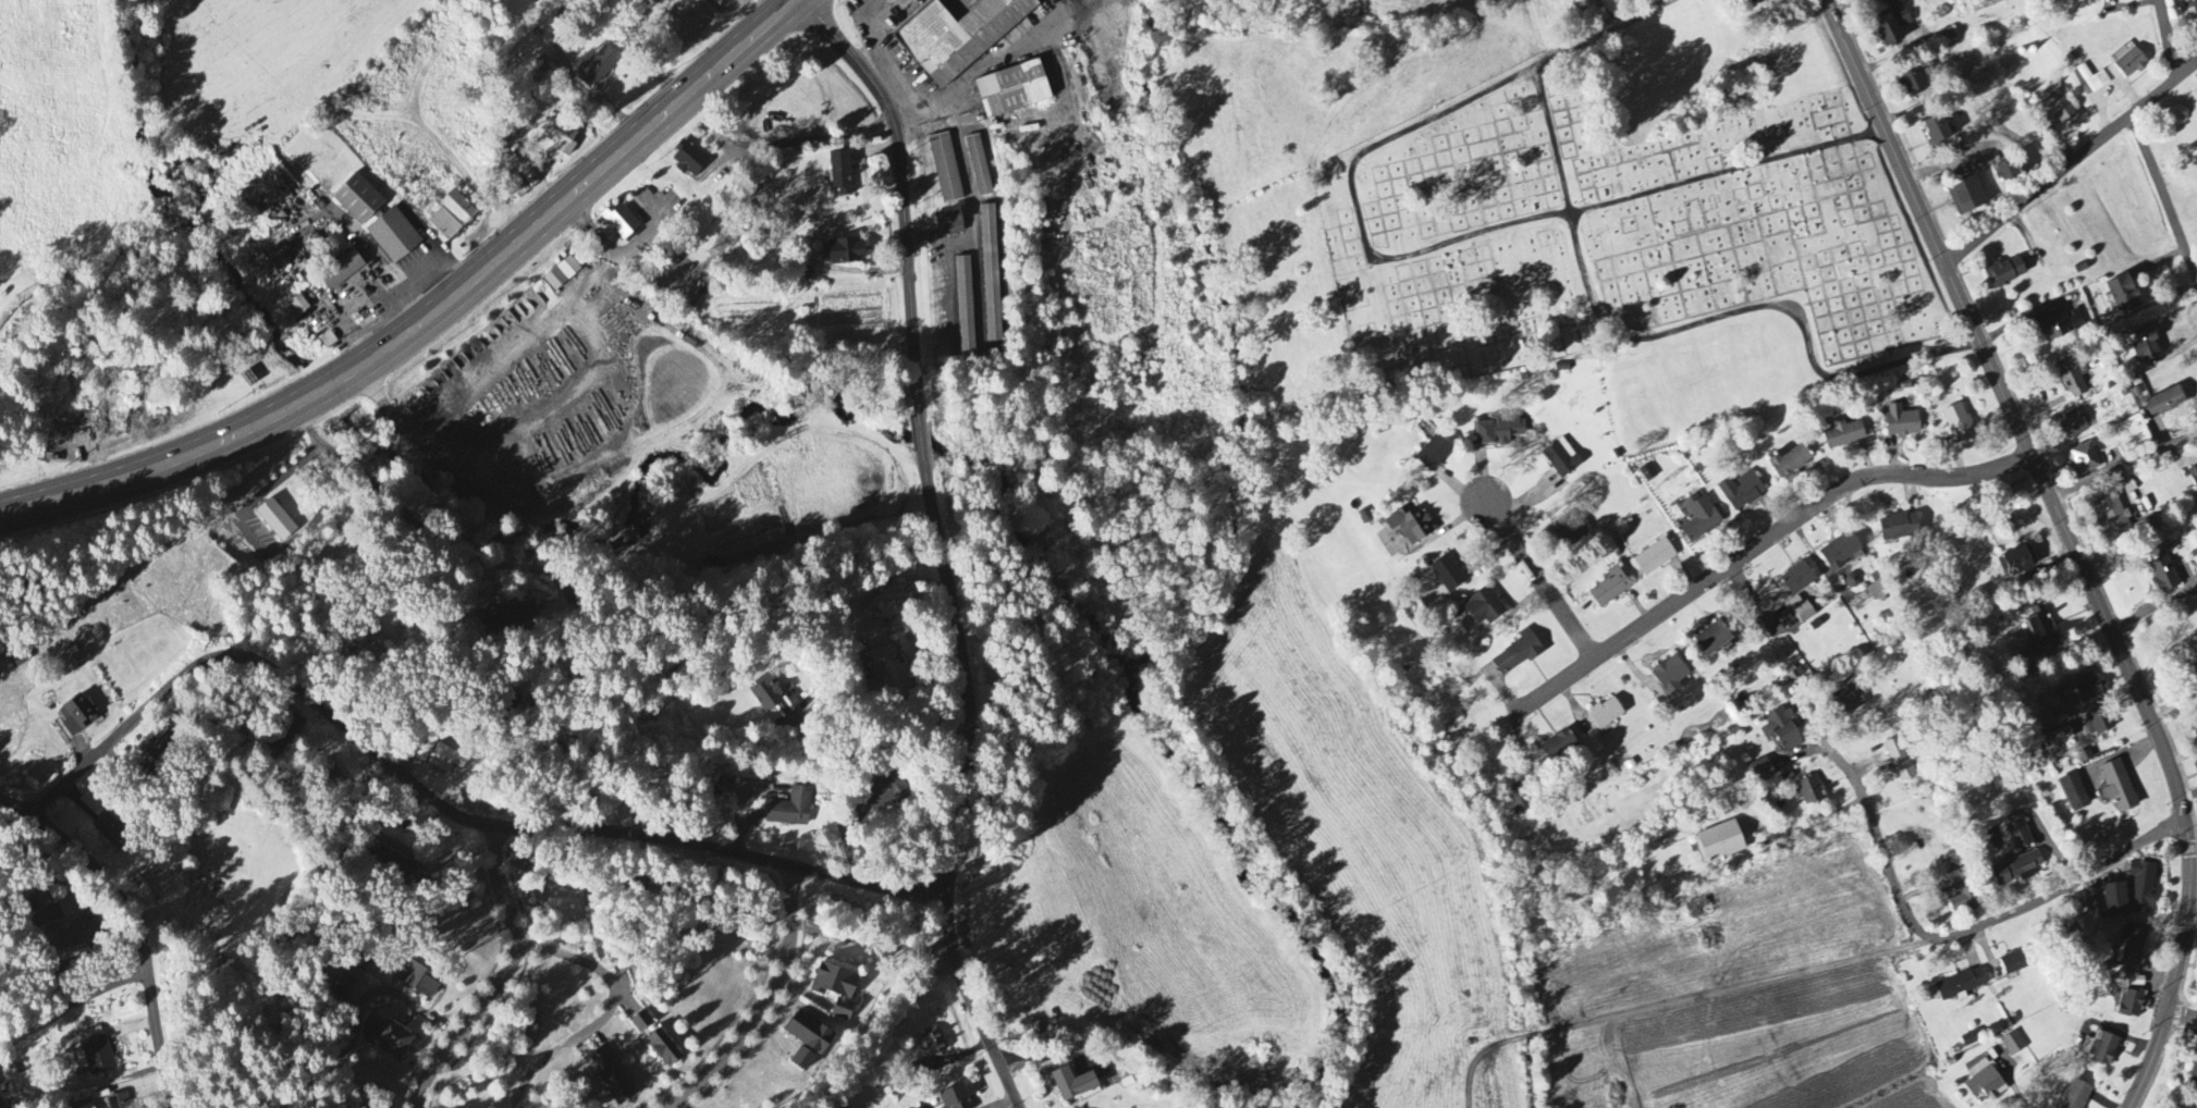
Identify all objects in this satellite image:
building: (648, 0)
building: (1750, 2)
building: (2193, 7)
road: (783, 12)
road: (1604, 15)
building: (1891, 27)
road: (1604, 35)
building: (958, 36)
road: (2168, 39)
road: (883, 45)
building: (2126, 64)
building: (597, 69)
road: (980, 69)
building: (2094, 79)
building: (1912, 81)
building: (1011, 90)
building: (2196, 102)
road: (576, 104)
building: (2057, 110)
building: (1937, 132)
building: (560, 135)
building: (688, 160)
road: (1952, 163)
road: (2072, 164)
building: (979, 168)
building: (945, 170)
building: (2006, 173)
building: (840, 174)
building: (516, 176)
road: (904, 190)
building: (1966, 196)
road: (971, 197)
road: (2164, 198)
building: (357, 200)
building: (451, 217)
building: (619, 222)
building: (949, 222)
park: (1636, 233)
road: (1478, 234)
building: (393, 236)
road: (361, 243)
building: (333, 247)
building: (843, 253)
building: (341, 272)
building: (2004, 273)
building: (562, 274)
building: (991, 274)
building: (806, 275)
building: (965, 306)
building: (2059, 323)
road: (418, 325)
road: (1680, 330)
building: (2145, 346)
building: (2074, 381)
building: (2165, 404)
building: (1901, 422)
building: (1959, 426)
building: (2072, 427)
building: (1499, 431)
building: (1843, 435)
road: (922, 441)
building: (1433, 454)
building: (1561, 459)
building: (2084, 460)
building: (1790, 461)
road: (2125, 466)
building: (1647, 475)
building: (2193, 477)
building: (1741, 492)
road: (412, 512)
building: (1699, 519)
building: (275, 520)
building: (2113, 524)
building: (1409, 526)
building: (1898, 528)
building: (2146, 528)
building: (1572, 533)
road: (2073, 543)
road: (1756, 547)
building: (1840, 552)
building: (1654, 558)
building: (2014, 564)
building: (2162, 571)
building: (1447, 575)
road: (877, 578)
road: (1537, 579)
building: (1796, 580)
building: (1609, 589)
building: (1877, 592)
building: (1483, 608)
building: (514, 615)
building: (2042, 631)
building: (1711, 640)
building: (367, 648)
building: (1517, 655)
building: (884, 672)
road: (966, 677)
building: (1669, 677)
building: (2192, 678)
building: (1852, 685)
building: (2090, 689)
building: (764, 695)
building: (1854, 703)
building: (1605, 715)
building: (77, 716)
building: (2099, 723)
building: (2195, 727)
building: (1782, 731)
building: (2058, 738)
building: (1558, 747)
building: (449, 755)
road: (604, 755)
building: (1900, 761)
building: (2196, 765)
building: (1760, 772)
building: (2118, 788)
building: (1809, 792)
building: (883, 793)
building: (2074, 793)
building: (1519, 801)
road: (439, 803)
building: (790, 809)
road: (1811, 826)
building: (2018, 837)
building: (1719, 844)
building: (407, 870)
building: (2016, 871)
park: (241, 883)
building: (2143, 887)
building: (1963, 897)
building: (2114, 902)
building: (1697, 910)
road: (142, 921)
road: (946, 922)
road: (1927, 934)
building: (70, 936)
building: (2133, 945)
building: (2014, 964)
building: (358, 965)
road: (502, 977)
building: (416, 981)
building: (2137, 983)
building: (343, 985)
building: (1956, 987)
building: (835, 989)
road: (380, 990)
road: (1738, 990)
road: (72, 1002)
road: (764, 1006)
building: (2131, 1006)
road: (607, 1013)
road: (2183, 1015)
building: (641, 1022)
road: (2181, 1027)
road: (884, 1029)
road: (980, 1030)
building: (807, 1033)
building: (388, 1036)
building: (933, 1042)
building: (2013, 1045)
building: (661, 1049)
building: (2099, 1050)
building: (96, 1051)
building: (801, 1060)
building: (2194, 1075)
building: (1985, 1083)
building: (1073, 1085)
road: (2023, 1095)
building: (2075, 1096)
building: (954, 1098)
building: (118, 1101)
building: (1, 1104)
building: (93, 1107)

